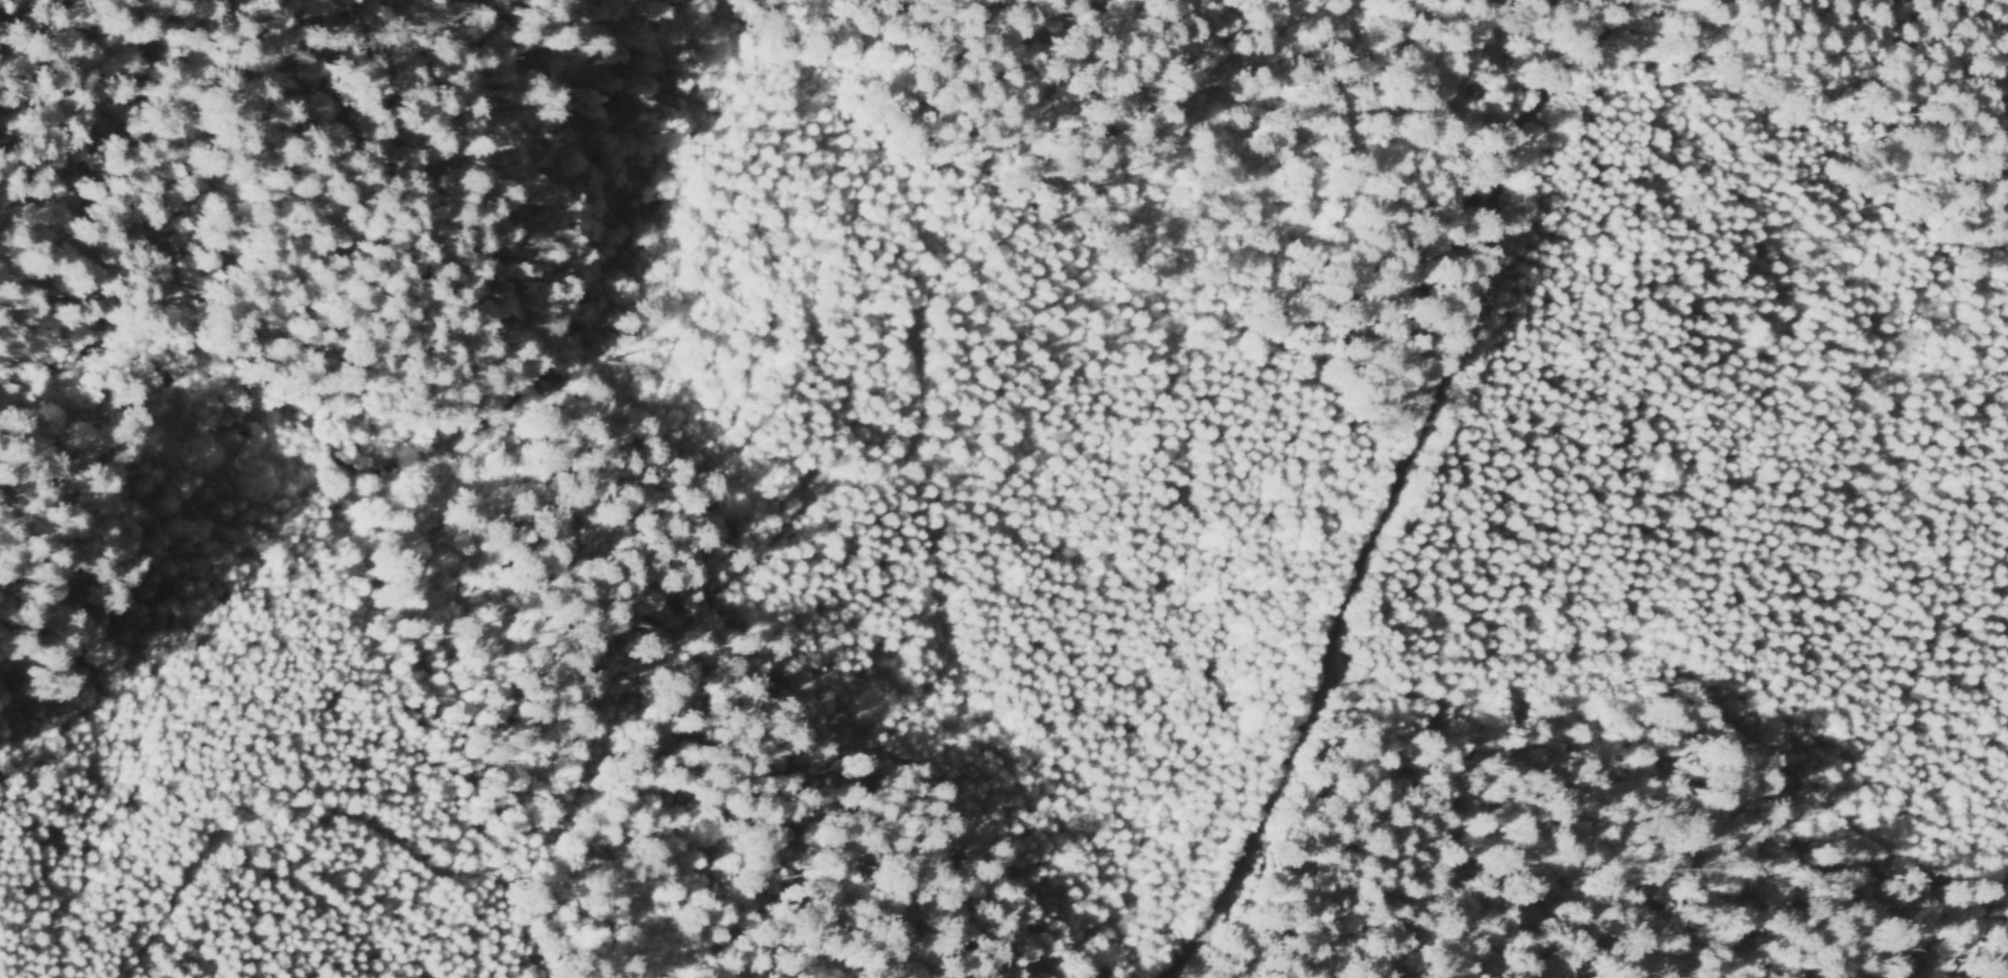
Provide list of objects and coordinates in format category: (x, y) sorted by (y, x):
road: (1380, 485)

